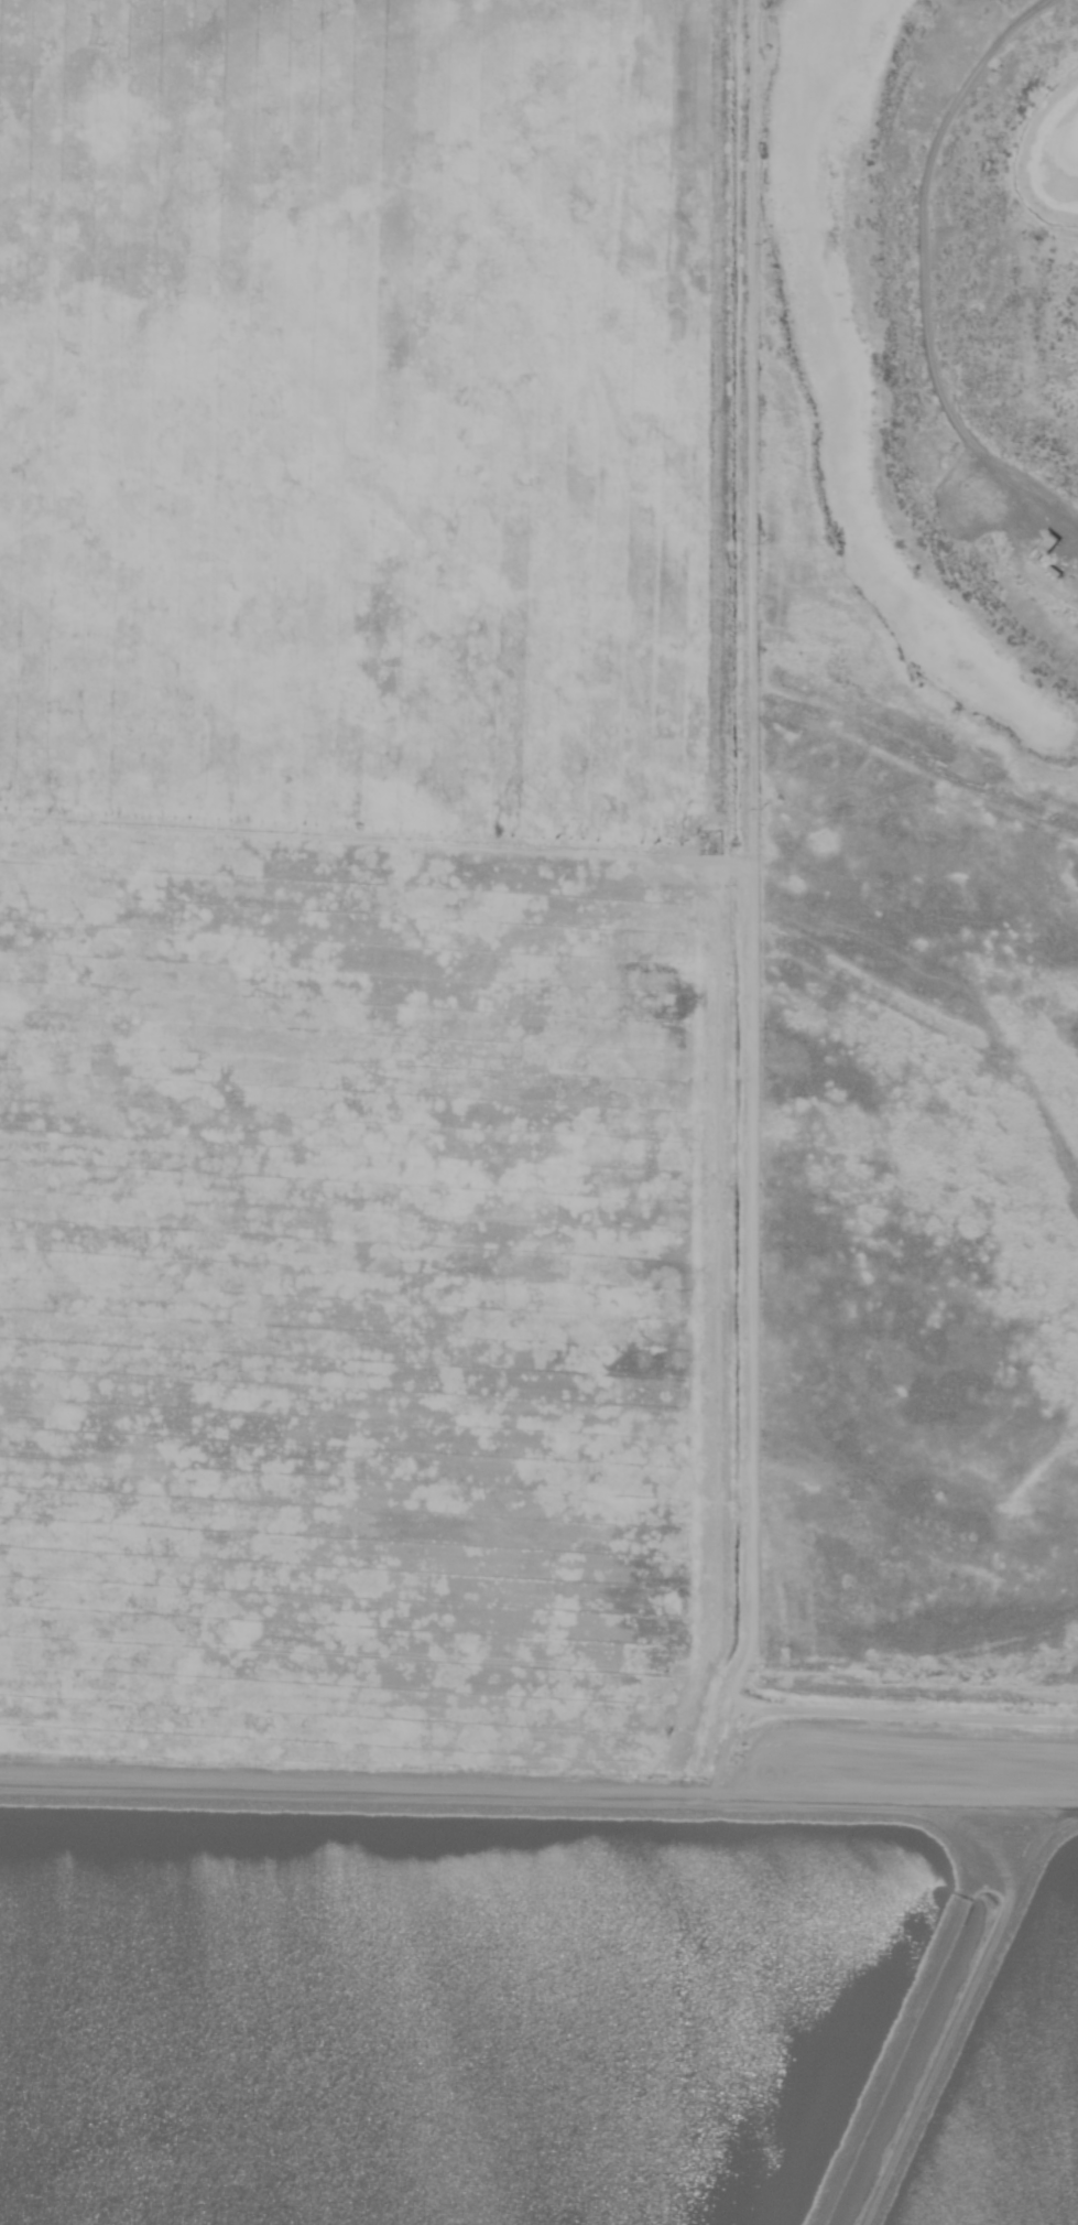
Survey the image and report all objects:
road: (923, 271)
building: (1043, 548)
crop: (361, 907)
road: (748, 1285)
road: (370, 1779)
road: (1067, 1786)

